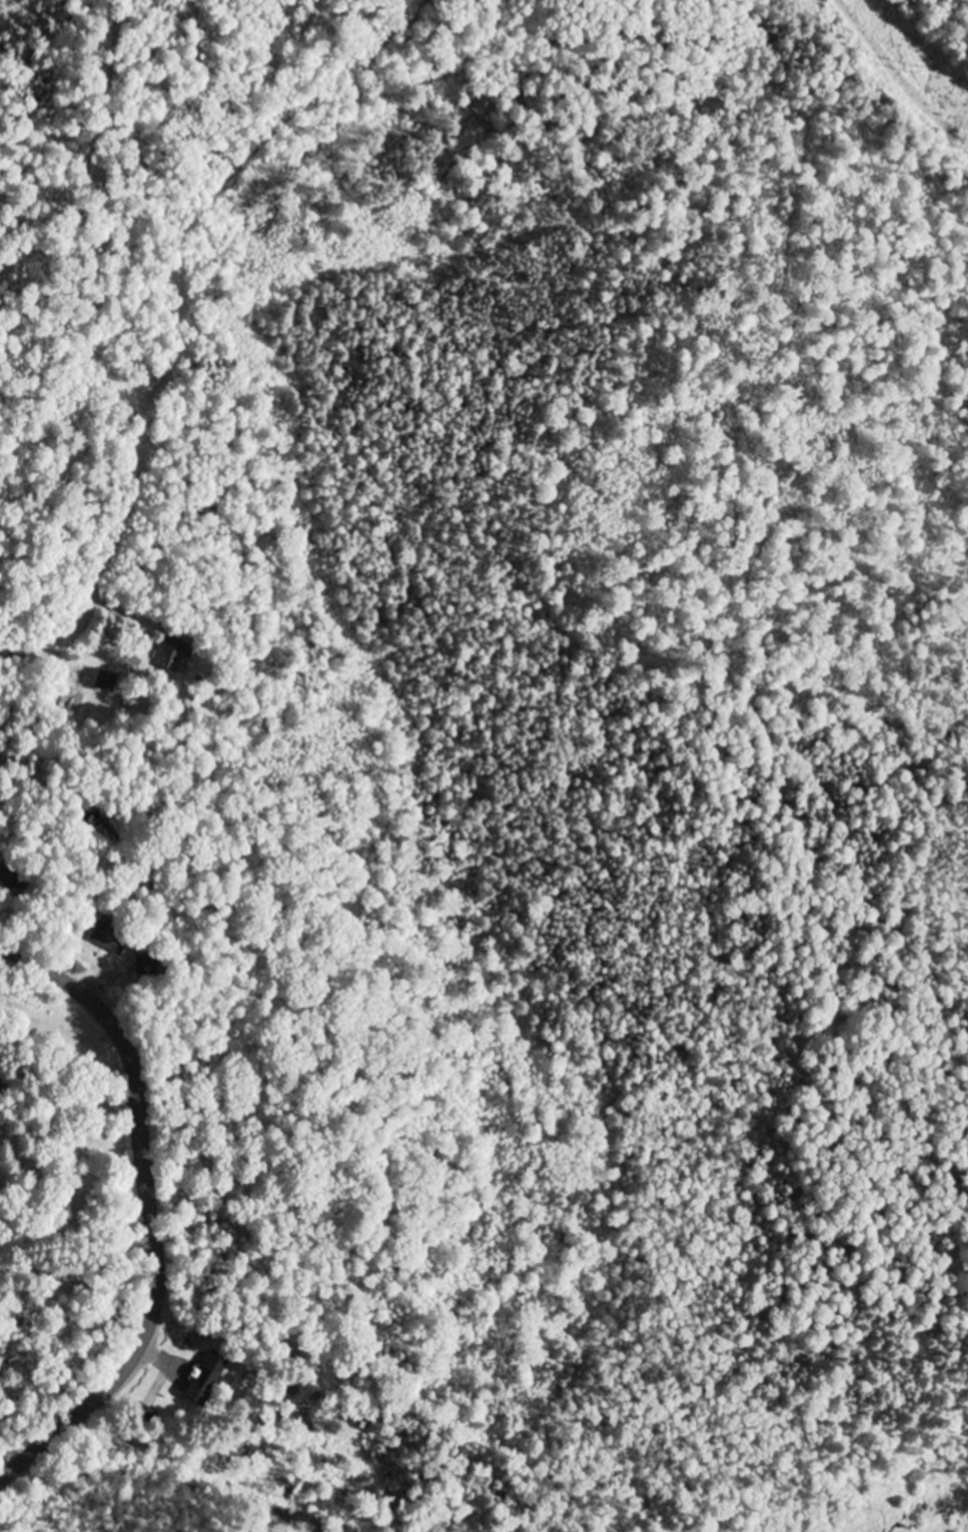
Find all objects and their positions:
power tower: (915, 71)
road: (60, 630)
building: (175, 657)
building: (106, 682)
building: (12, 878)
building: (108, 939)
road: (148, 1214)
road: (327, 1288)
building: (207, 1379)

